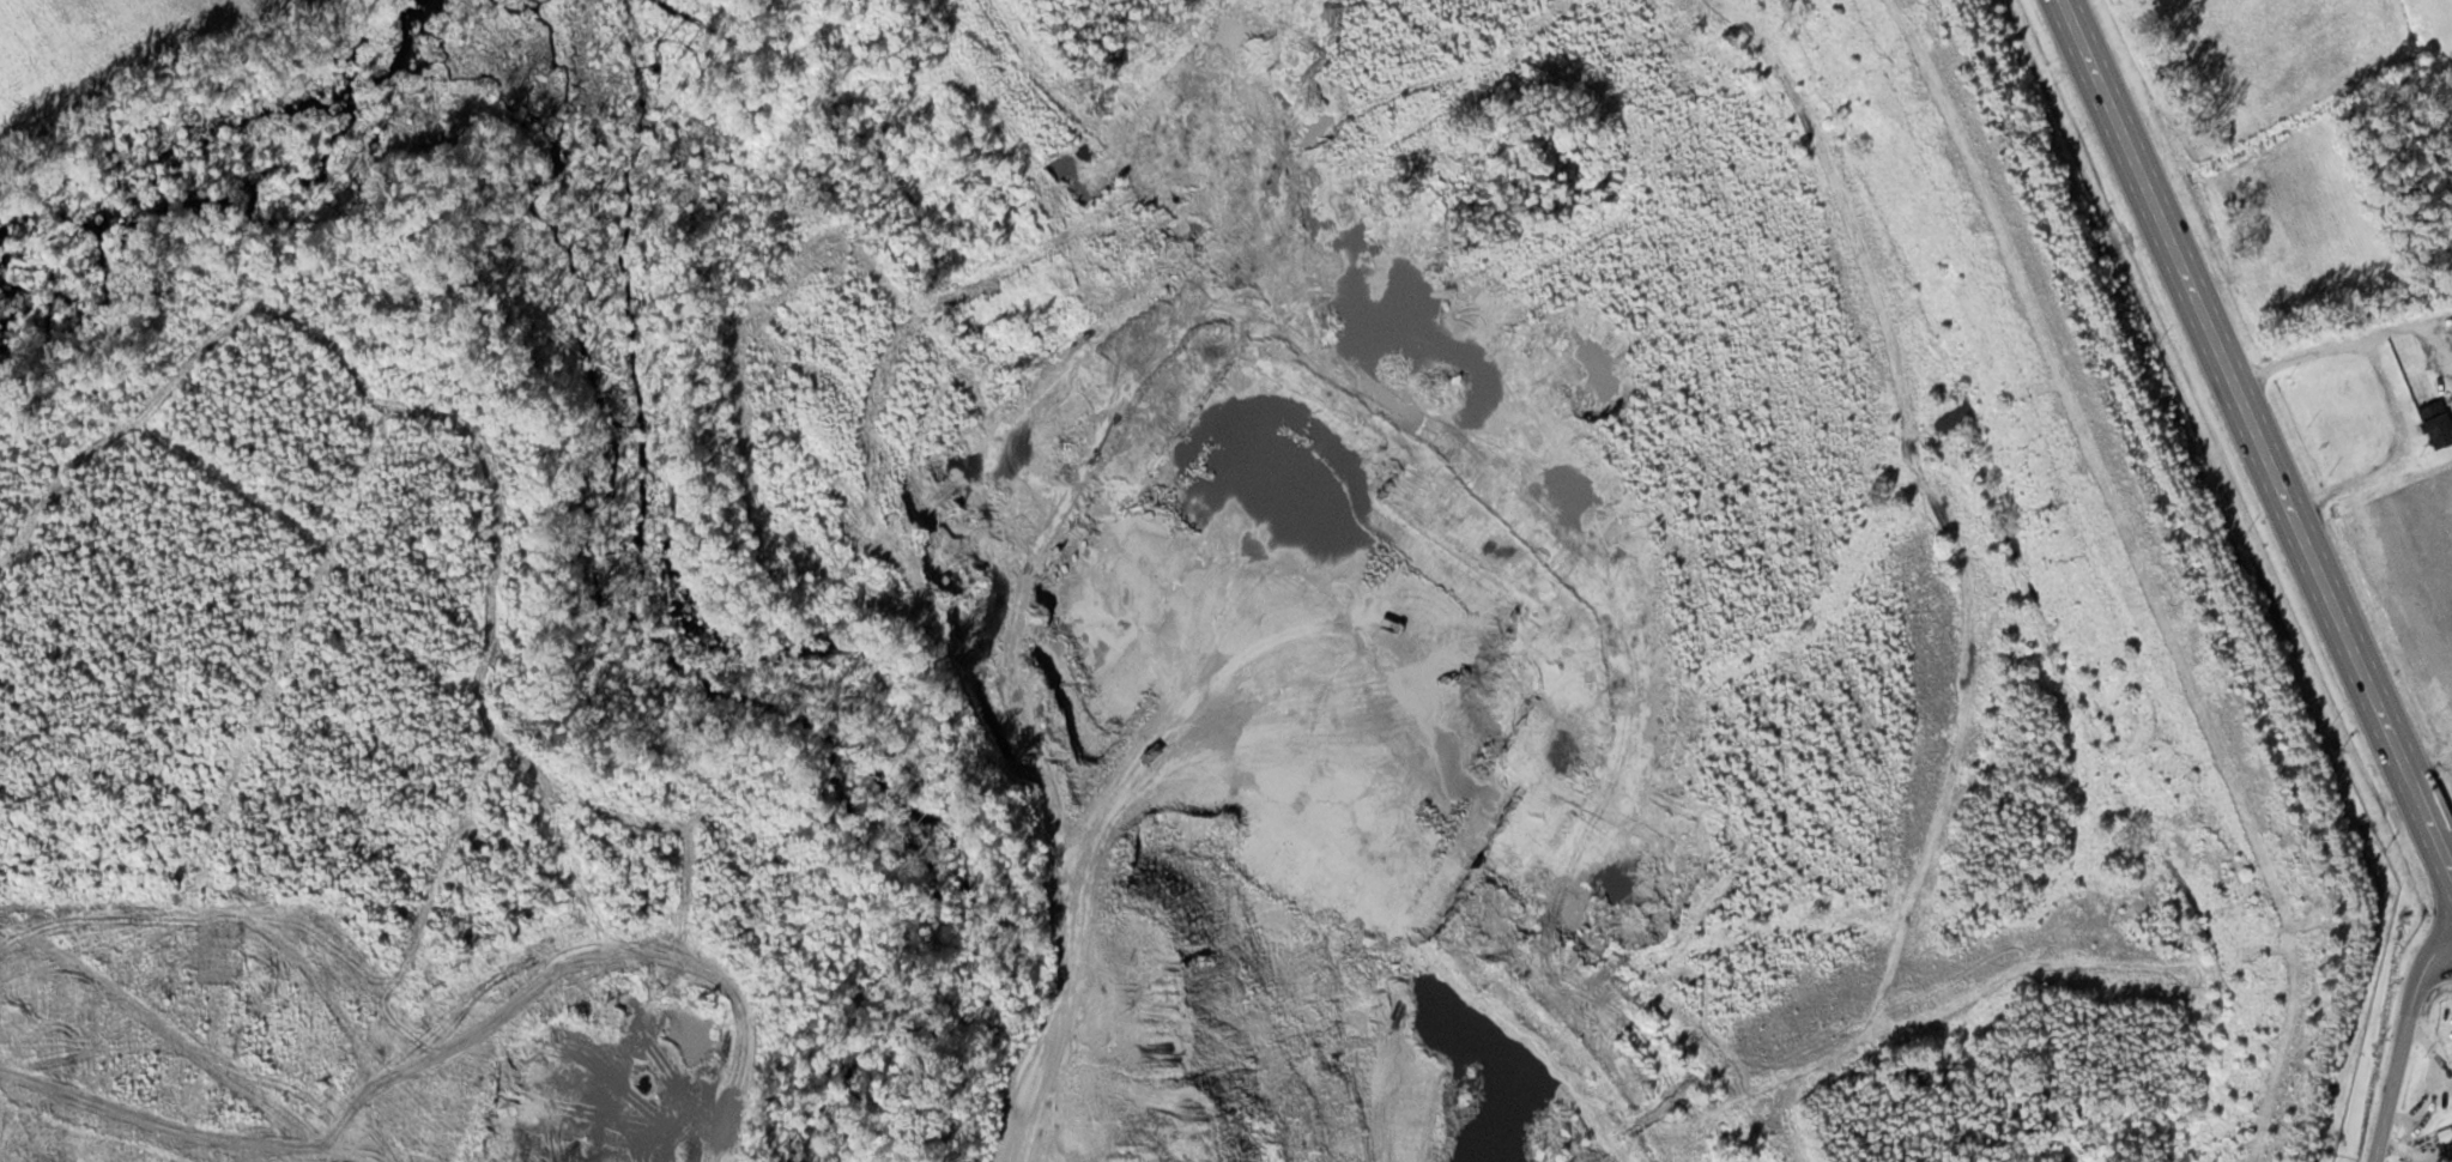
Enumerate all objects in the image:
building: (2434, 423)
road: (2257, 440)
quarry: (1264, 958)
road: (2403, 1045)
building: (1929, 1075)

